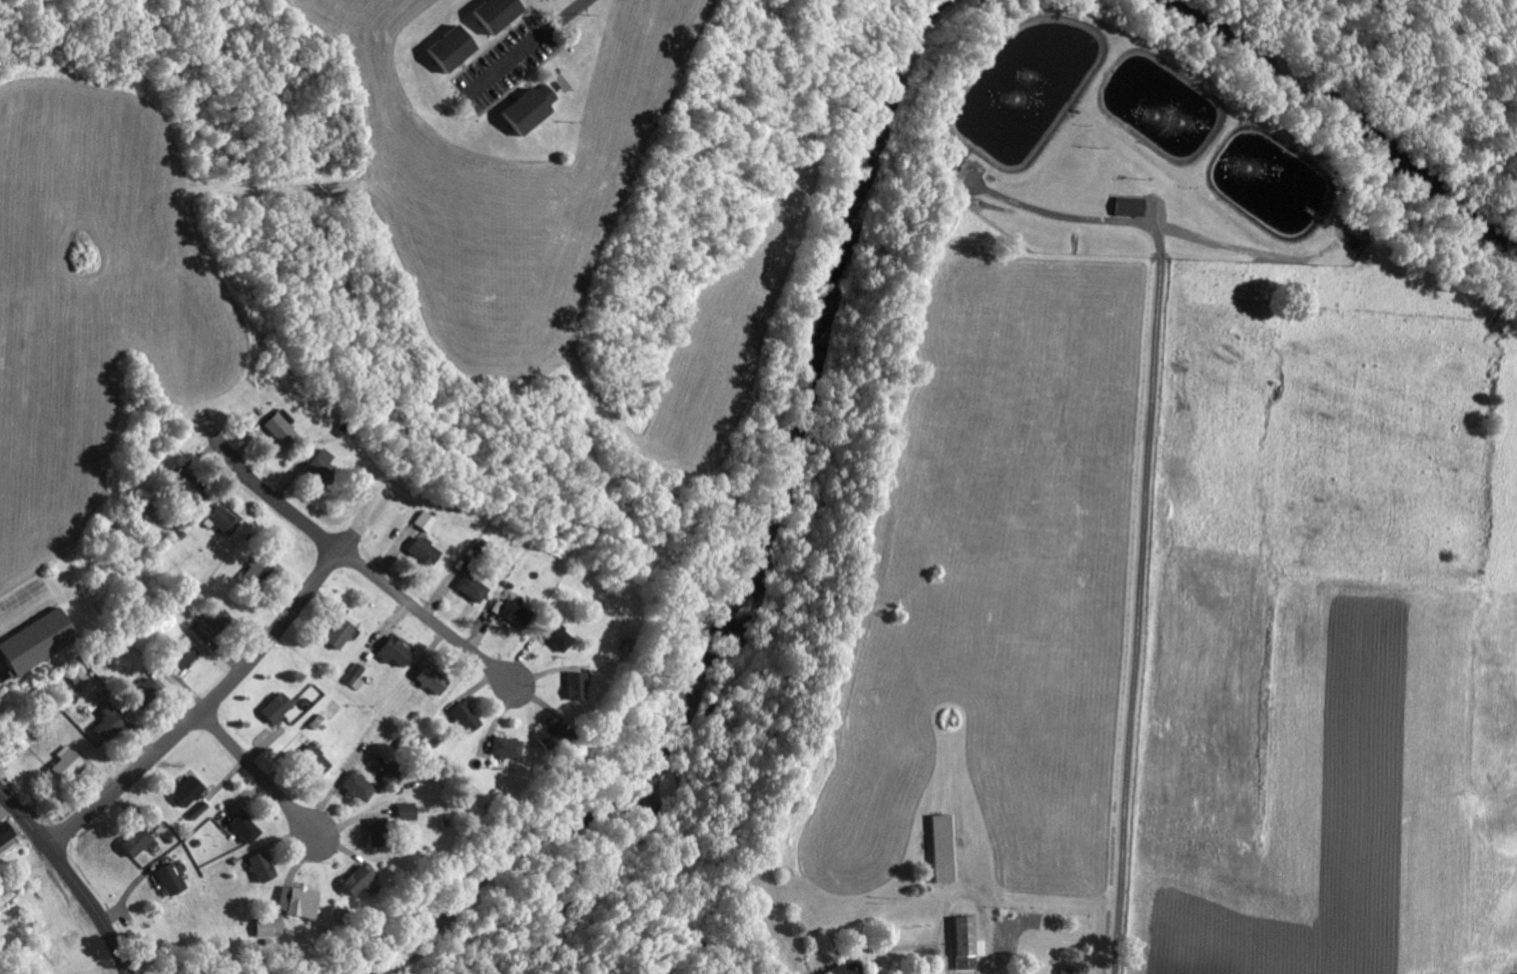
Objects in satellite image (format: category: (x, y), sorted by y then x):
building: (491, 12)
road: (571, 14)
building: (445, 45)
building: (561, 77)
building: (525, 105)
wastewater plant: (1133, 148)
building: (1125, 204)
building: (280, 427)
building: (319, 466)
building: (218, 519)
building: (423, 519)
building: (420, 550)
building: (257, 568)
road: (369, 571)
building: (469, 586)
building: (511, 610)
building: (350, 617)
road: (1142, 620)
building: (336, 632)
building: (555, 635)
building: (29, 641)
building: (391, 650)
building: (179, 654)
building: (353, 675)
building: (427, 678)
building: (572, 684)
building: (273, 706)
road: (206, 710)
building: (462, 715)
building: (104, 722)
building: (548, 733)
building: (503, 745)
building: (310, 758)
building: (60, 763)
building: (389, 773)
road: (266, 783)
building: (354, 785)
building: (184, 790)
building: (402, 809)
road: (25, 818)
building: (241, 826)
building: (368, 828)
building: (4, 829)
building: (132, 841)
building: (939, 846)
building: (258, 865)
building: (166, 877)
building: (352, 878)
building: (295, 900)
road: (93, 907)
building: (260, 926)
building: (963, 942)
building: (840, 969)

